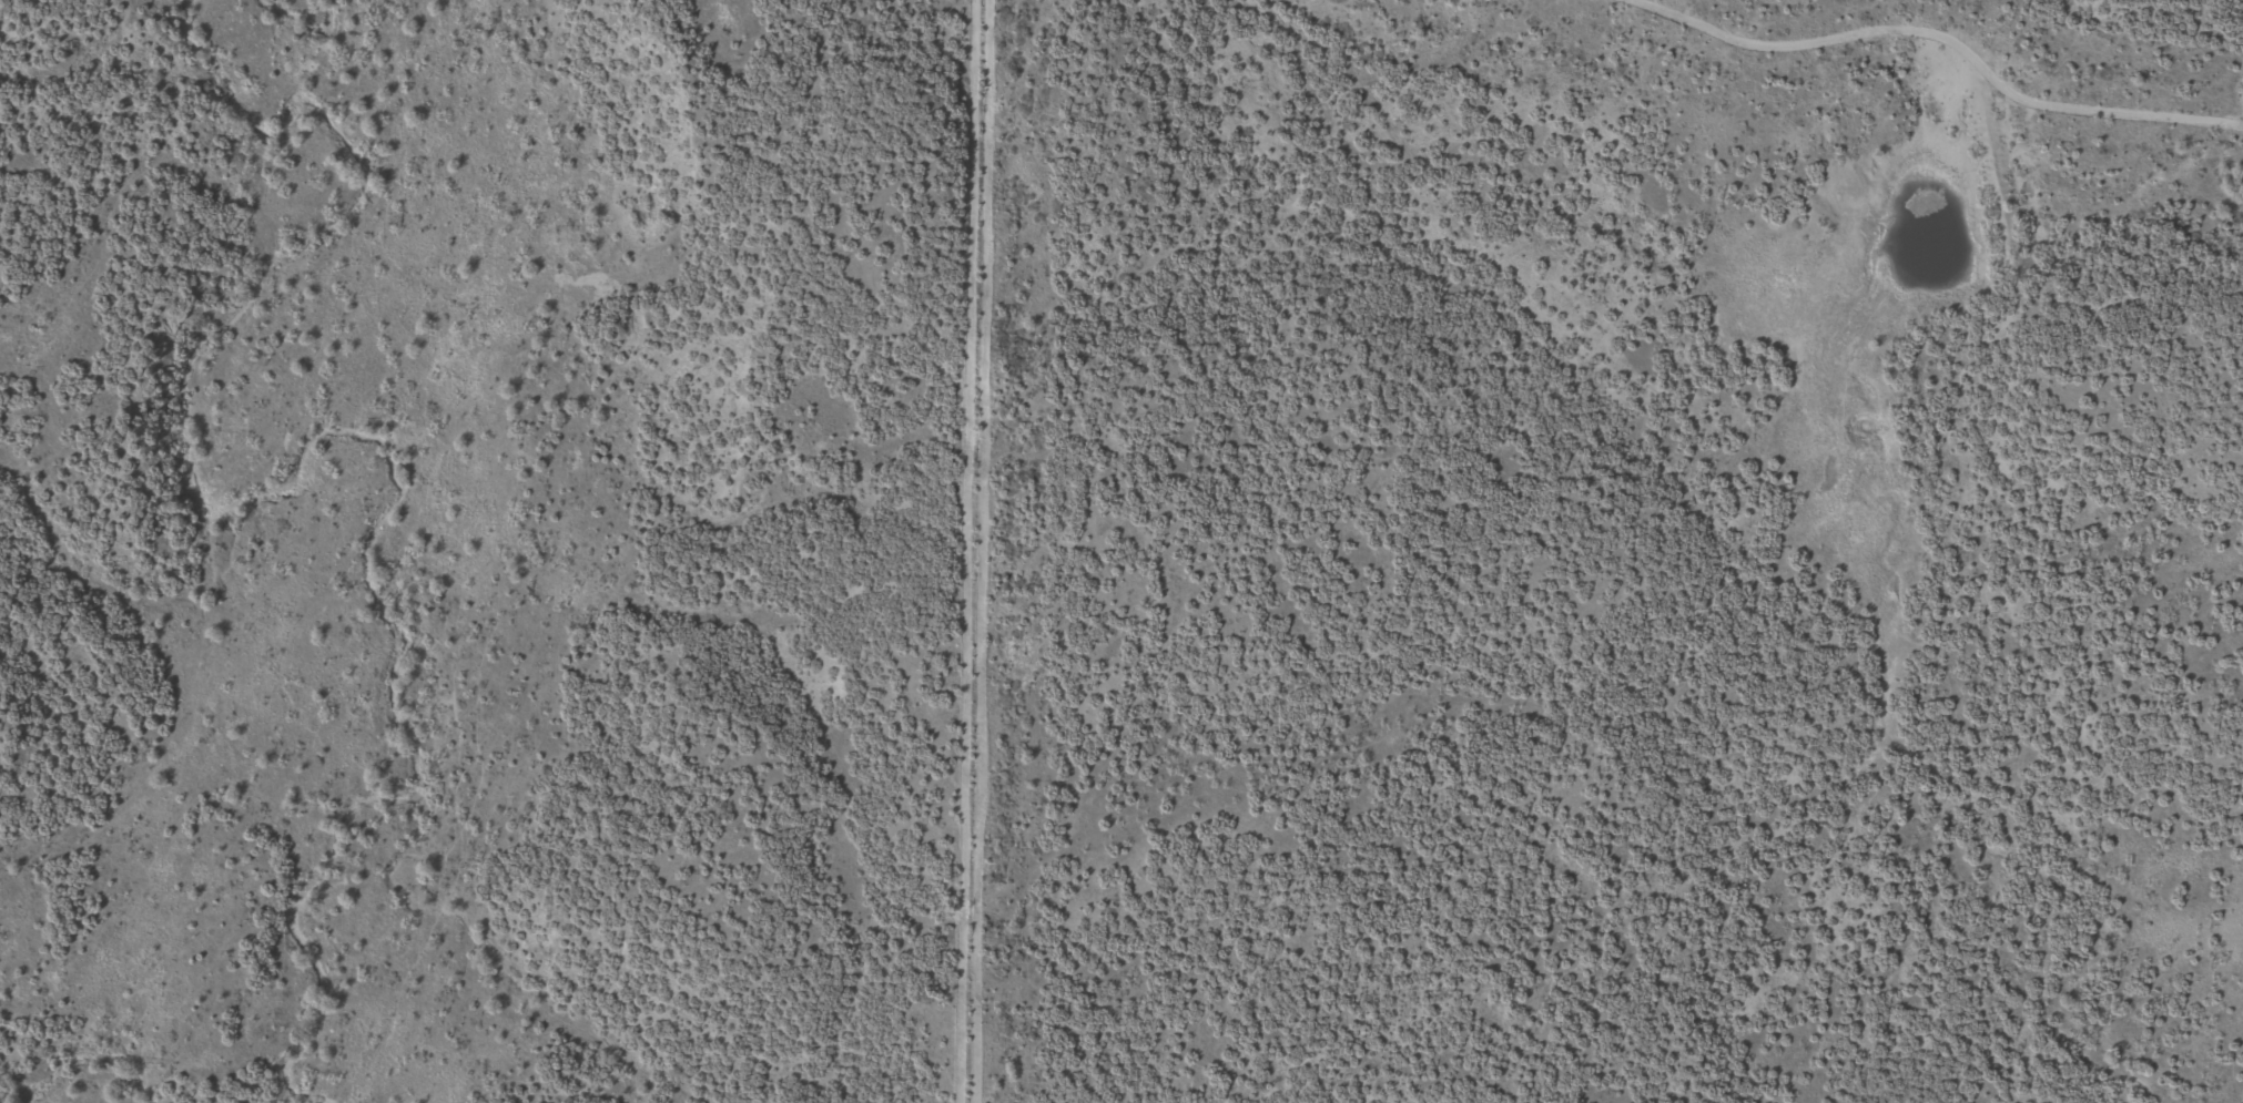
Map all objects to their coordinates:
road: (1926, 50)

